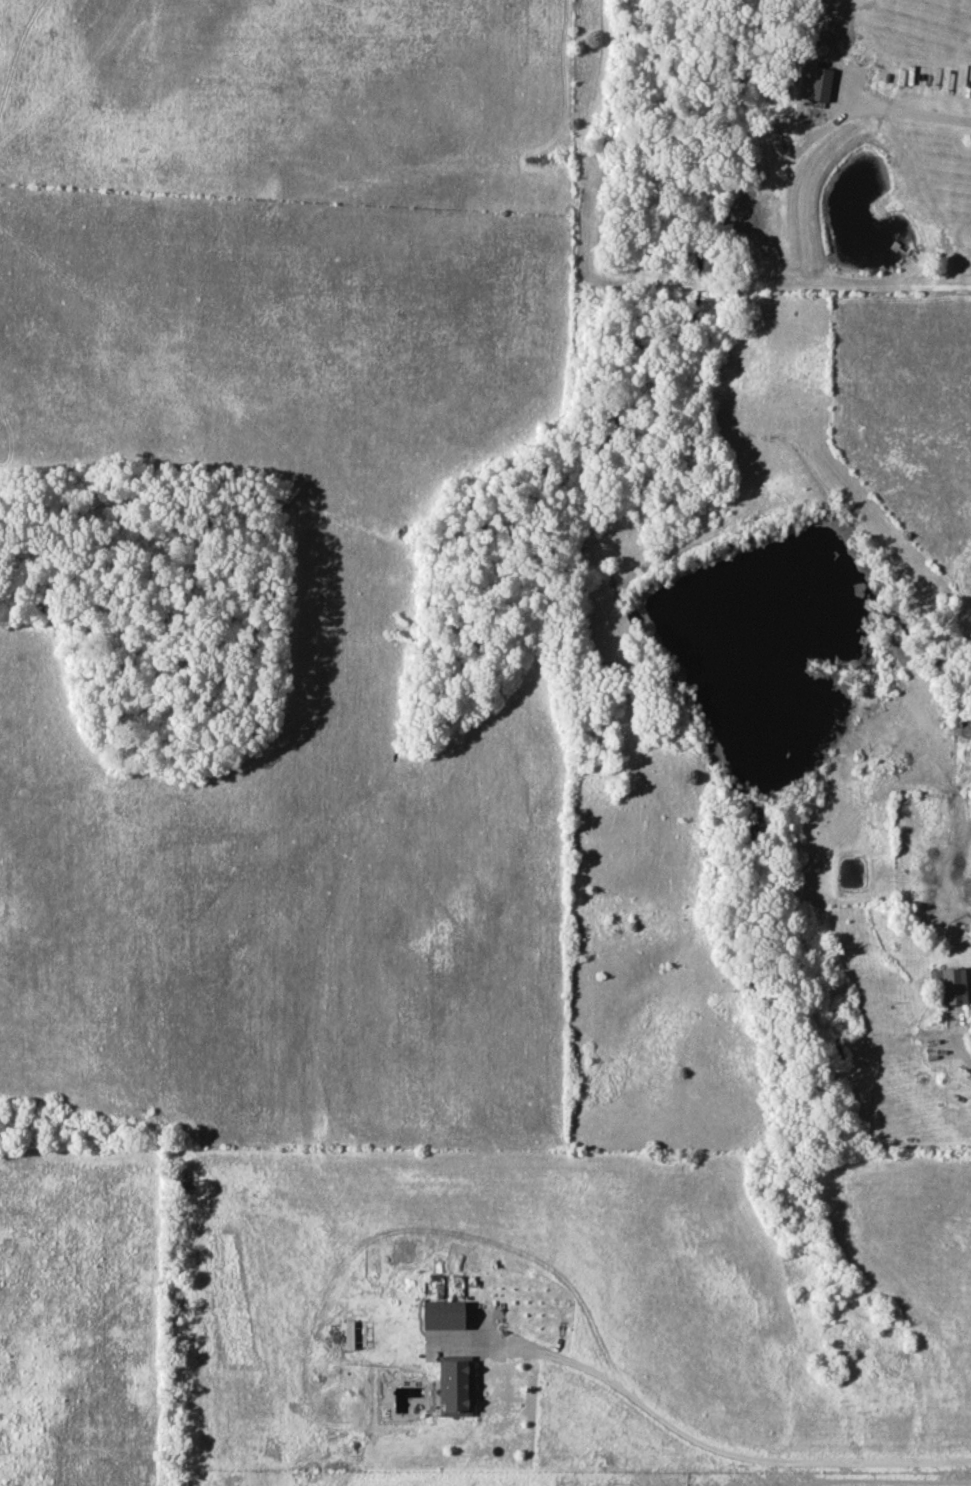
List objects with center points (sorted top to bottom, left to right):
building: (813, 83)
road: (908, 108)
crop: (965, 602)
building: (950, 984)
building: (442, 1315)
building: (349, 1334)
road: (714, 1447)

